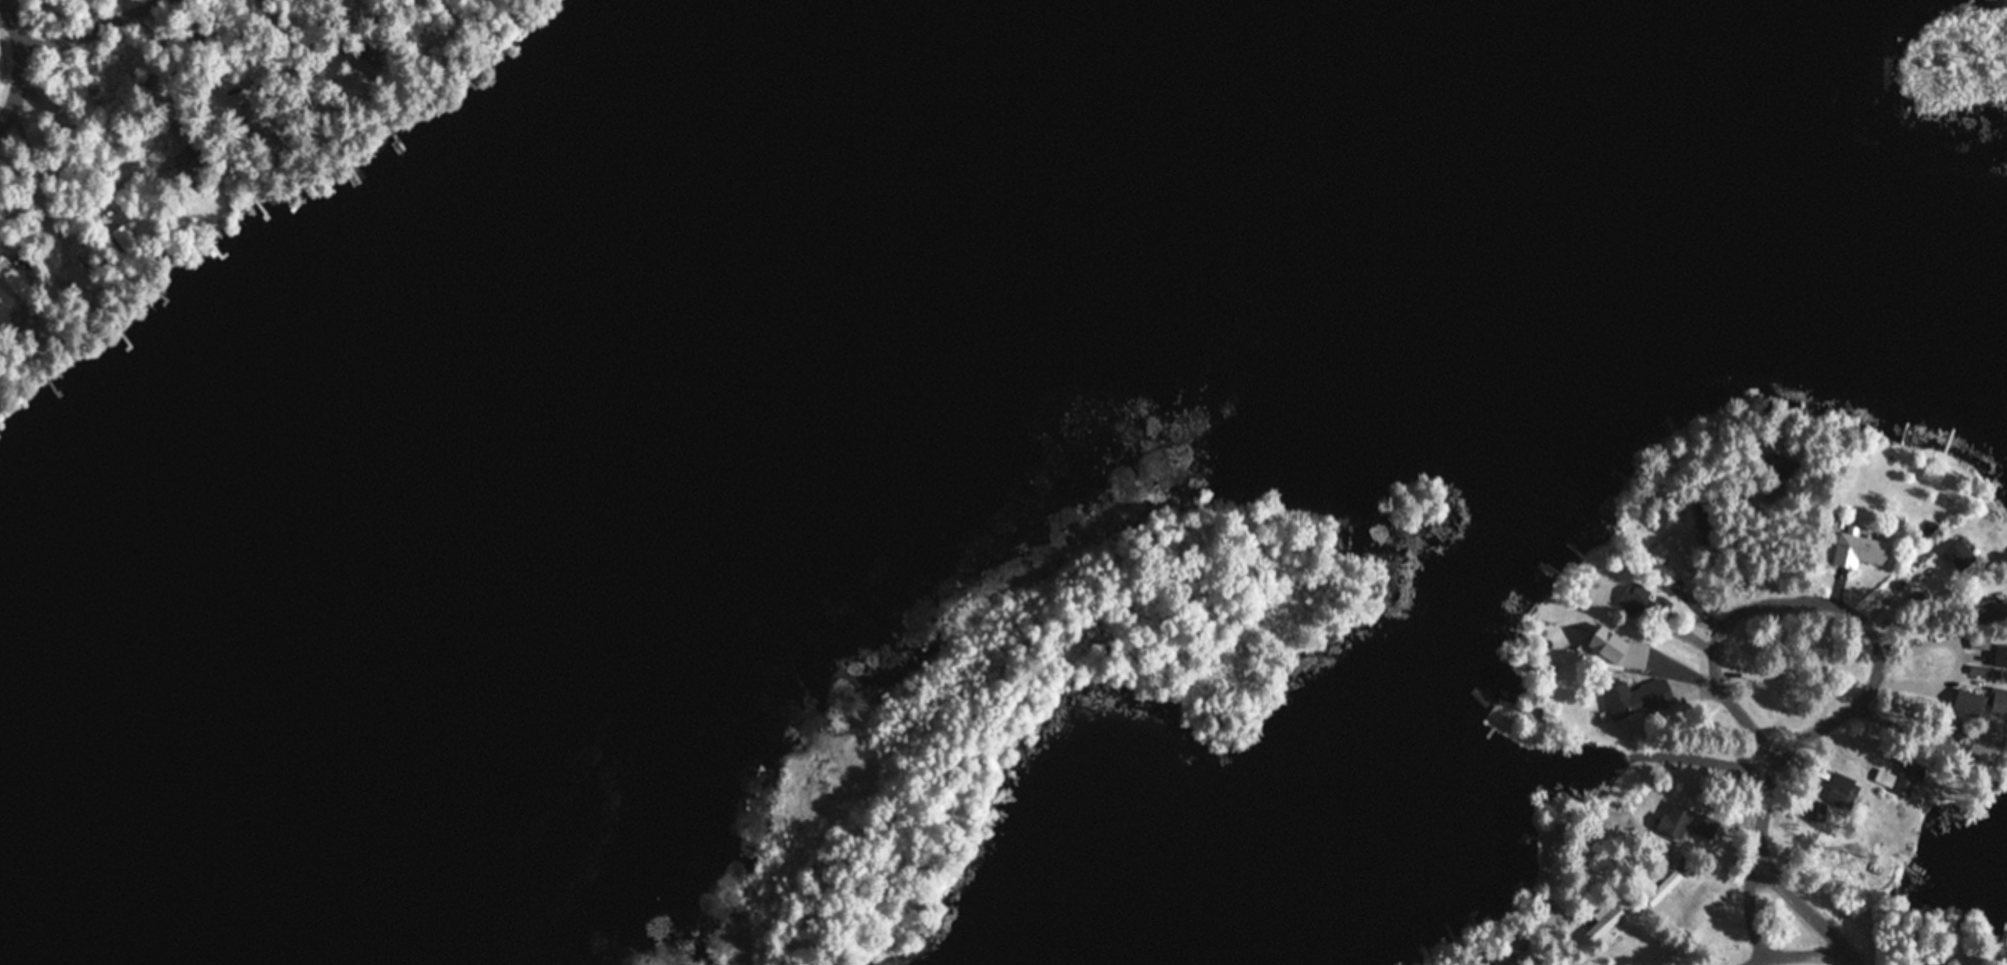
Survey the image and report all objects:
road: (85, 32)
road: (16, 53)
building: (191, 169)
building: (122, 235)
building: (15, 257)
building: (80, 279)
building: (1216, 319)
building: (26, 321)
river: (525, 464)
building: (1781, 466)
building: (1860, 550)
building: (1963, 555)
building: (1676, 558)
road: (1779, 601)
building: (1638, 602)
building: (1991, 611)
building: (1621, 650)
building: (1637, 698)
building: (1983, 704)
building: (1986, 743)
building: (1909, 777)
building: (1841, 791)
building: (1817, 812)
building: (1677, 821)
building: (1706, 827)
road: (1767, 848)
building: (1666, 883)
road: (1812, 906)
building: (1601, 931)
road: (1804, 950)
building: (1523, 953)

